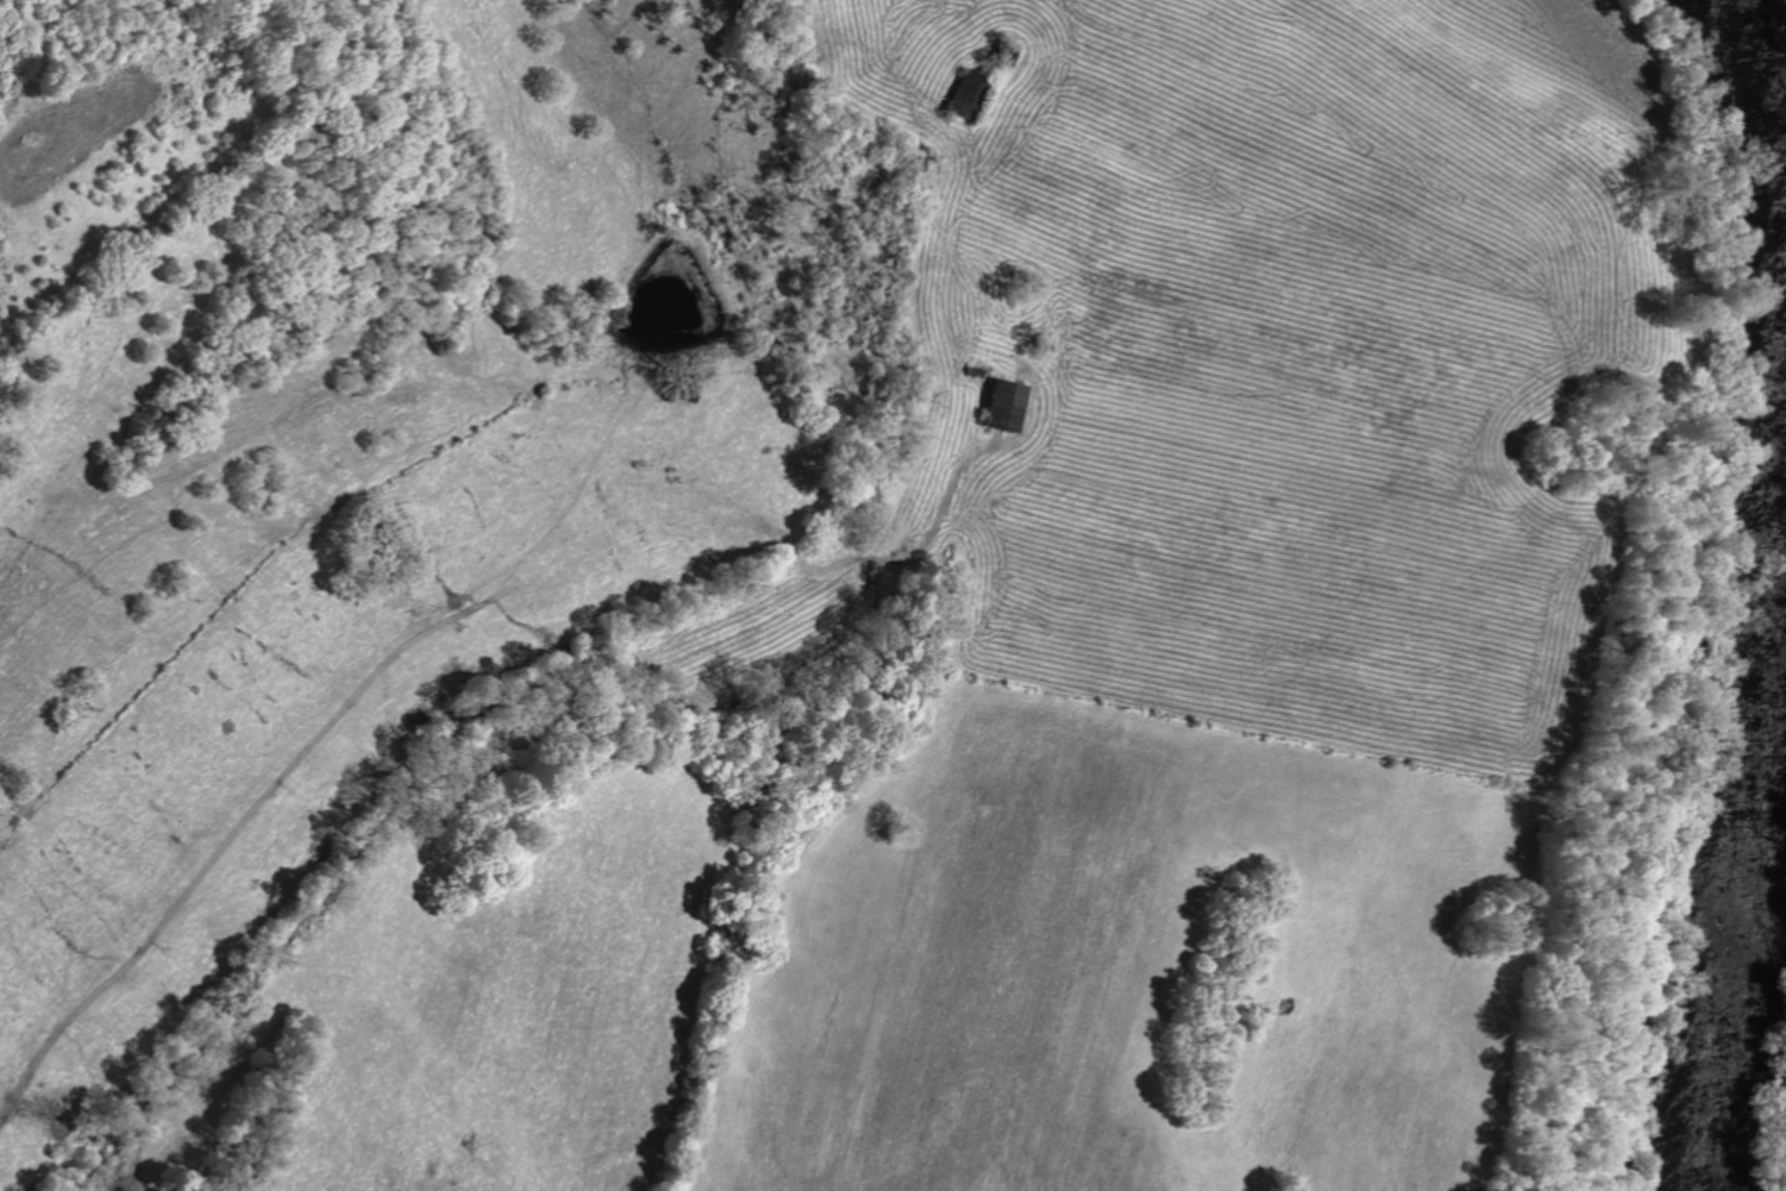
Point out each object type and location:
river: (1767, 119)
building: (1002, 407)
river: (1747, 844)

